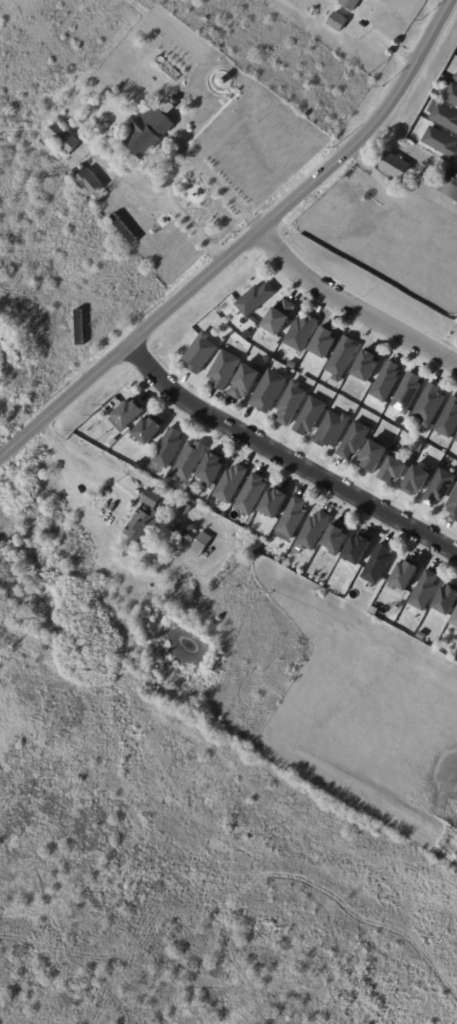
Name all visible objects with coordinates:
building: (351, 4)
building: (338, 22)
building: (340, 41)
building: (168, 68)
building: (452, 77)
building: (456, 78)
building: (448, 83)
building: (452, 95)
building: (444, 116)
building: (149, 132)
building: (64, 139)
building: (442, 142)
building: (396, 166)
road: (174, 172)
building: (87, 181)
building: (450, 184)
road: (244, 244)
building: (256, 299)
road: (351, 307)
building: (280, 317)
building: (301, 333)
building: (248, 337)
building: (325, 344)
building: (201, 353)
building: (343, 359)
building: (369, 366)
building: (224, 371)
building: (246, 382)
building: (387, 382)
building: (408, 393)
building: (267, 394)
building: (291, 404)
building: (431, 405)
building: (131, 413)
building: (311, 417)
building: (449, 420)
building: (149, 430)
building: (333, 430)
building: (456, 439)
building: (355, 441)
building: (113, 442)
building: (169, 449)
building: (116, 450)
road: (286, 458)
building: (374, 458)
road: (77, 460)
building: (189, 462)
building: (213, 469)
building: (395, 470)
building: (418, 482)
building: (232, 485)
building: (440, 488)
building: (251, 495)
building: (152, 500)
building: (275, 504)
building: (208, 507)
building: (453, 507)
building: (292, 520)
building: (145, 526)
building: (313, 532)
building: (184, 534)
building: (338, 539)
building: (201, 546)
building: (358, 550)
building: (378, 566)
building: (405, 576)
building: (425, 592)
building: (447, 601)
building: (455, 622)
building: (456, 630)

